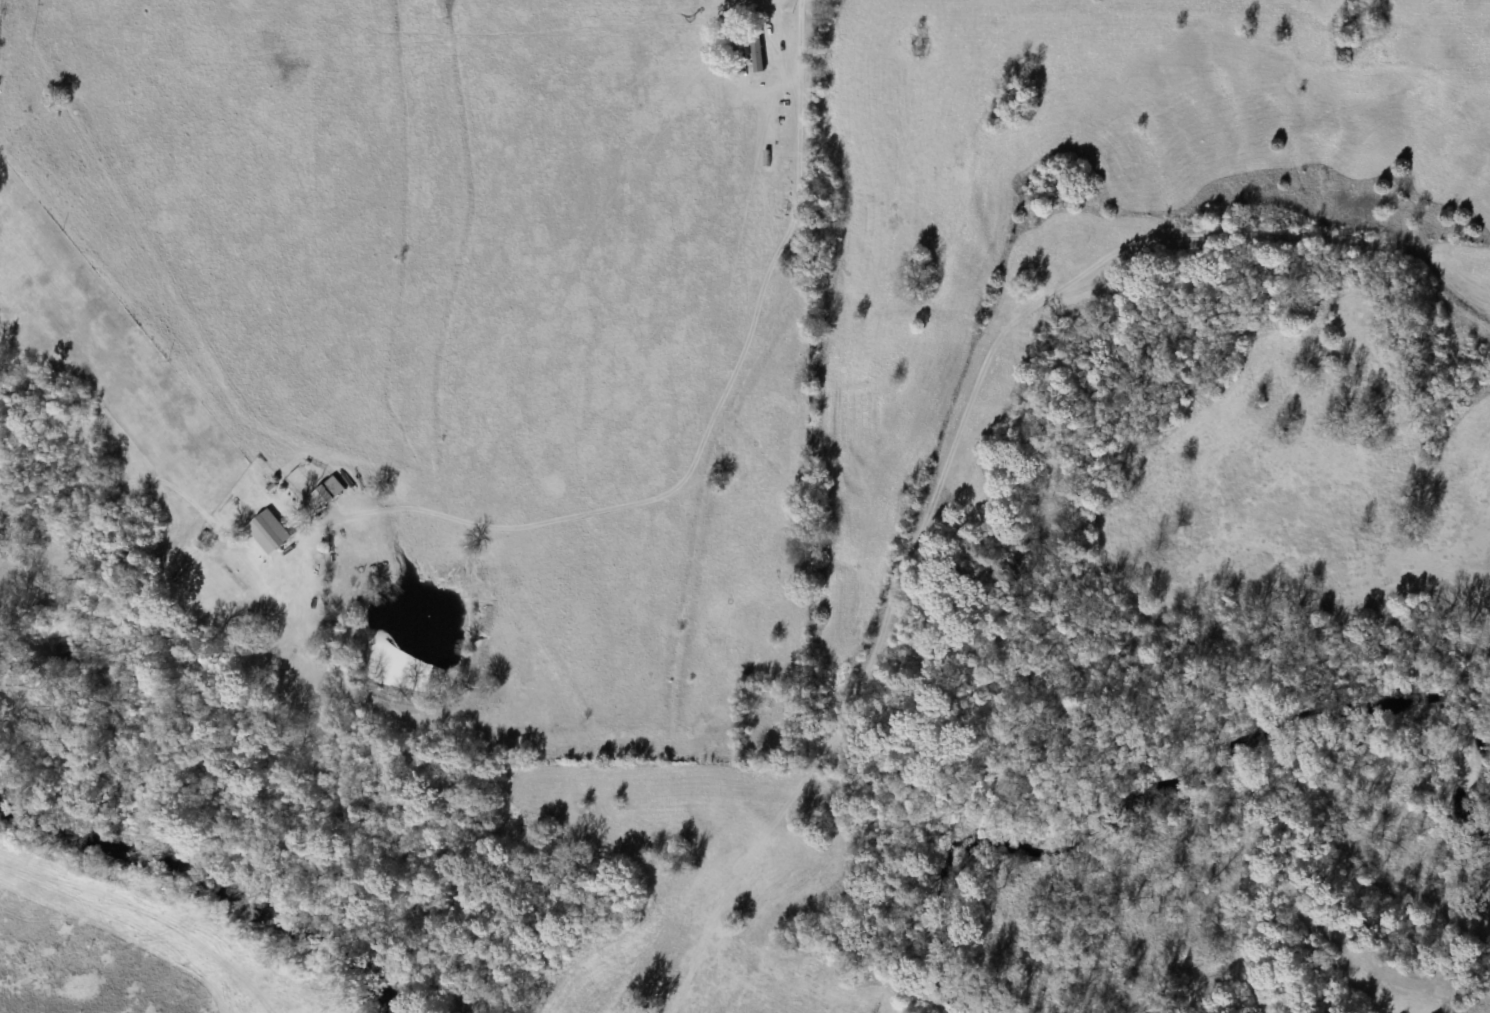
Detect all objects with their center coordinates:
building: (744, 46)

